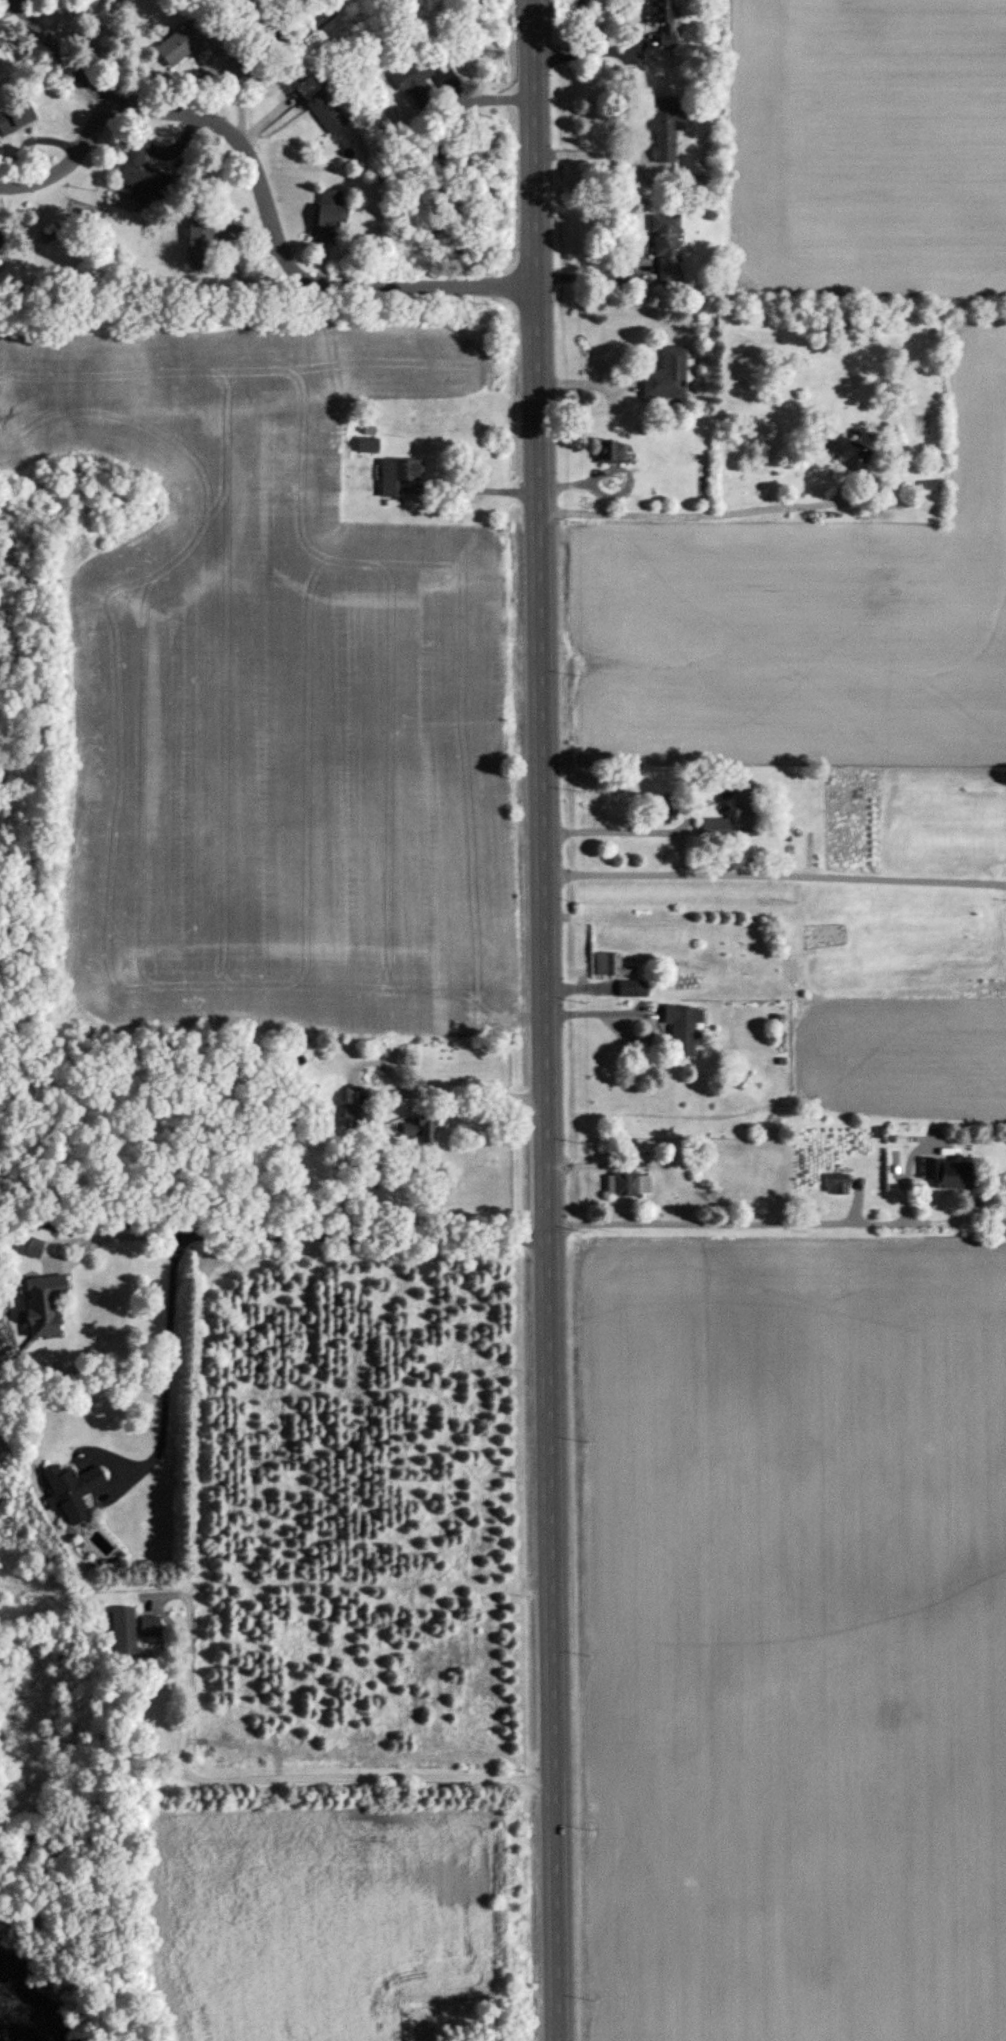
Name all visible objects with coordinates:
building: (662, 20)
building: (185, 46)
road: (592, 53)
building: (413, 78)
road: (482, 98)
road: (105, 105)
building: (321, 105)
building: (15, 115)
building: (666, 128)
road: (589, 157)
building: (141, 176)
building: (328, 216)
building: (208, 238)
building: (666, 246)
road: (285, 253)
road: (594, 277)
building: (666, 375)
building: (367, 445)
building: (318, 448)
building: (842, 448)
building: (610, 451)
building: (398, 476)
building: (338, 484)
road: (486, 486)
road: (692, 508)
building: (741, 808)
road: (628, 826)
building: (715, 827)
road: (775, 870)
building: (610, 966)
building: (633, 990)
road: (600, 1014)
road: (547, 1020)
building: (682, 1029)
road: (459, 1092)
building: (357, 1117)
building: (327, 1122)
building: (419, 1128)
road: (907, 1169)
building: (947, 1174)
building: (836, 1185)
building: (628, 1187)
road: (779, 1223)
road: (246, 1235)
road: (126, 1236)
building: (40, 1306)
building: (71, 1491)
building: (149, 1627)
building: (122, 1631)
road: (266, 1778)
river: (20, 2017)

